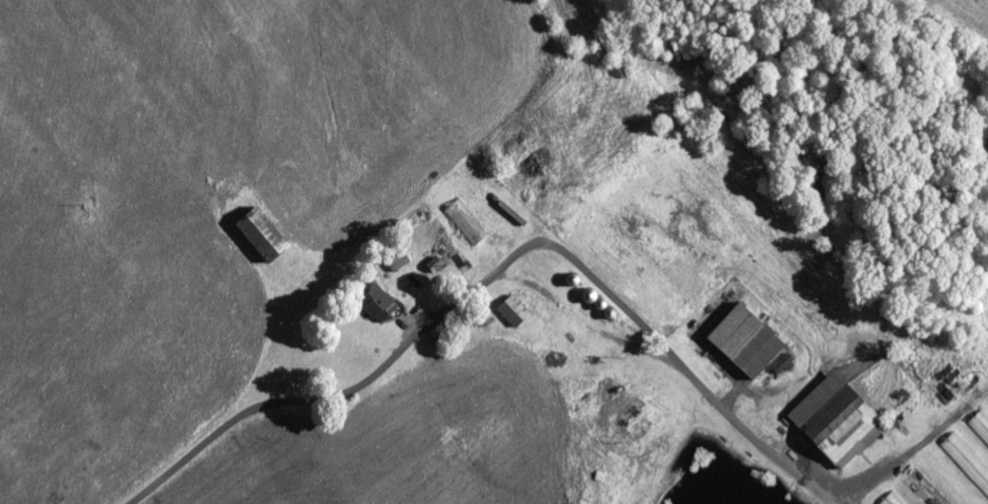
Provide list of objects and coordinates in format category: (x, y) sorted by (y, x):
building: (260, 234)
road: (497, 269)
building: (377, 302)
building: (512, 310)
building: (744, 341)
building: (833, 420)
building: (981, 424)
building: (967, 460)
building: (893, 499)

